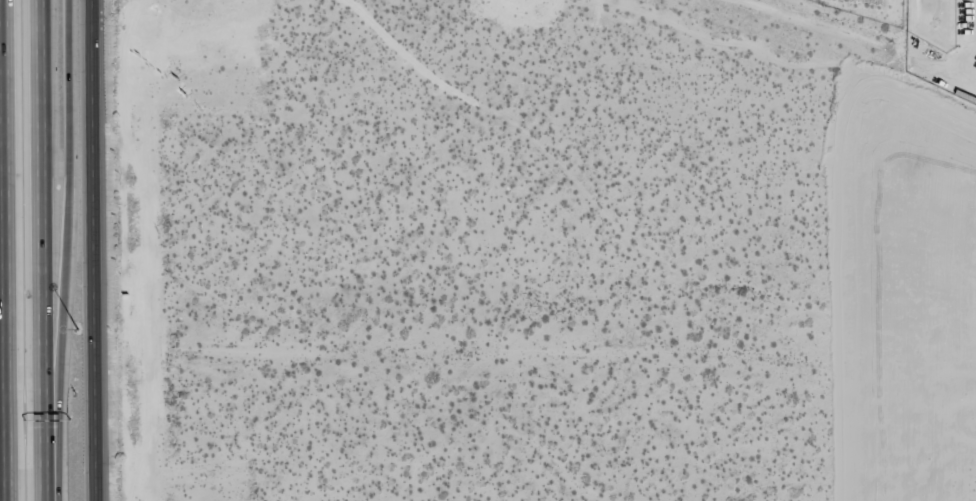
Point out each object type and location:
road: (5, 250)
road: (42, 250)
road: (64, 250)
road: (94, 250)

